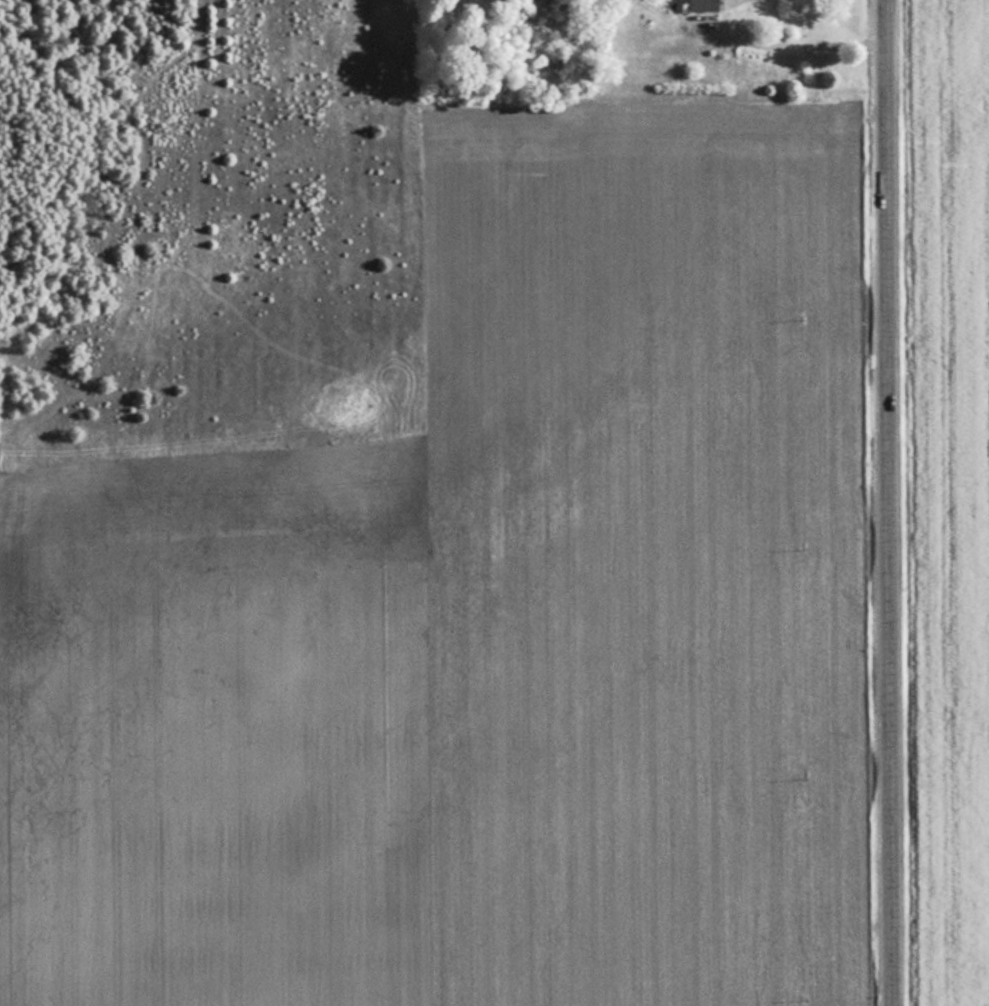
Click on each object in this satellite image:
building: (705, 5)
road: (888, 503)

